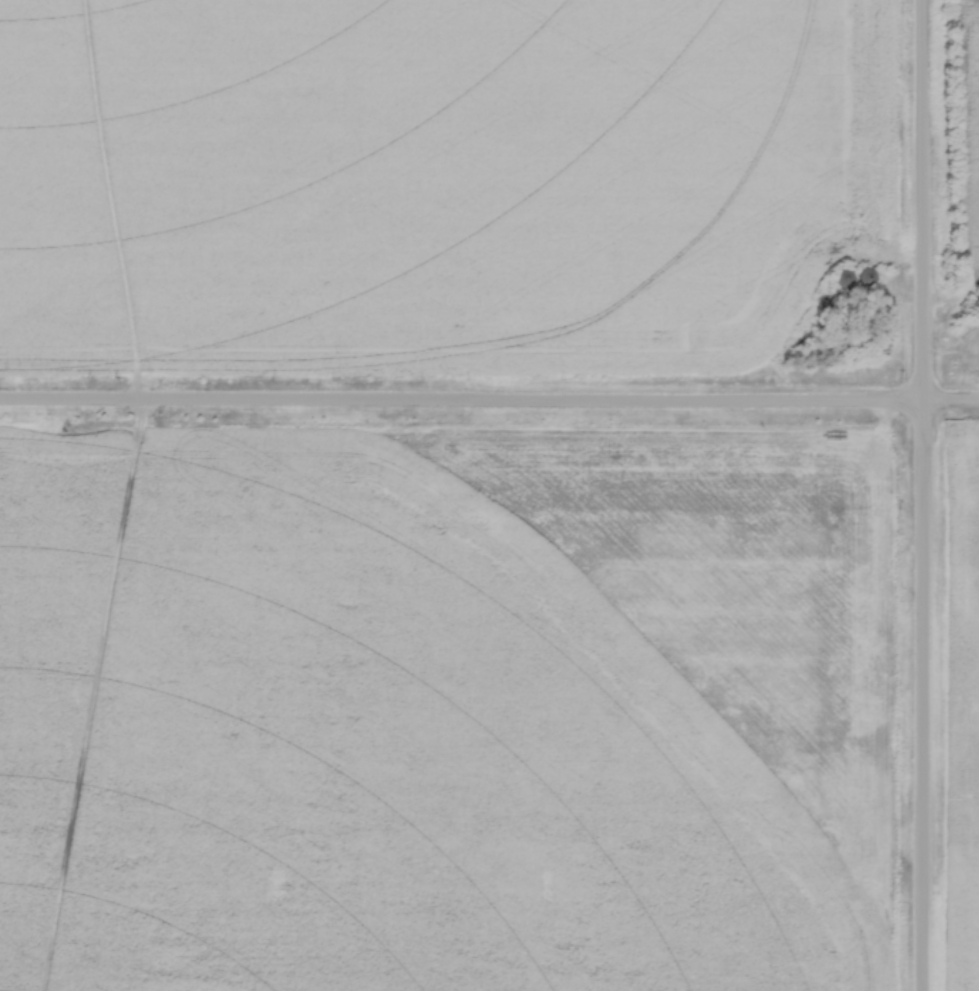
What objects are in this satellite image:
road: (924, 203)
building: (846, 279)
road: (462, 405)
road: (952, 406)
road: (923, 698)

